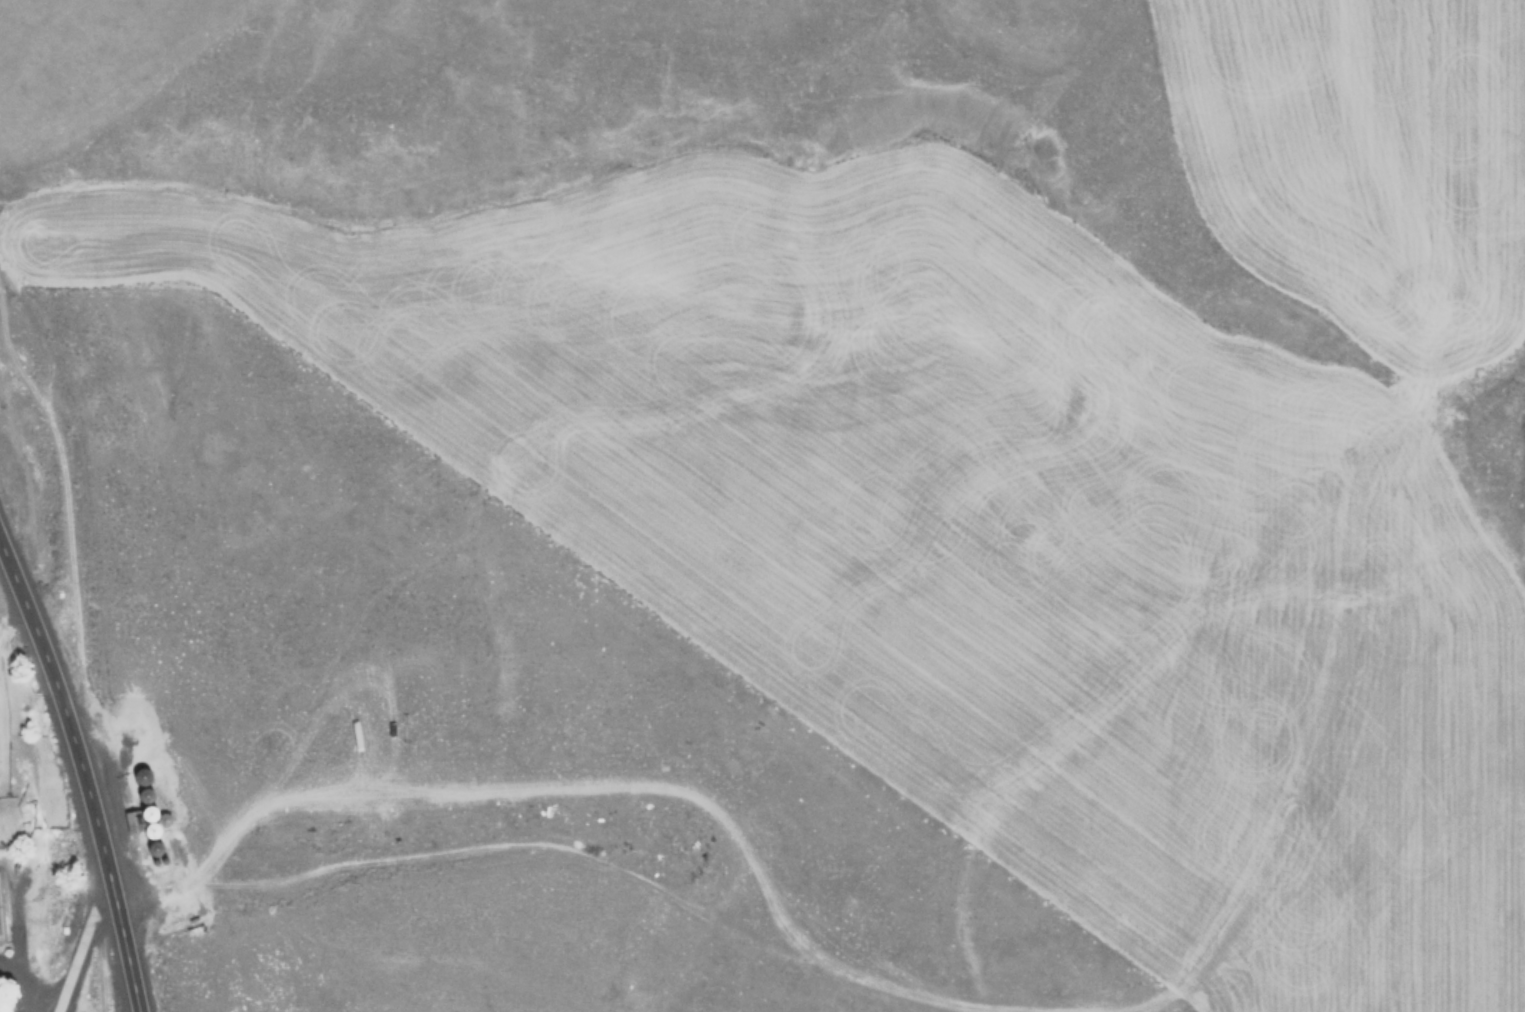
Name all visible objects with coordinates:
road: (92, 794)
road: (94, 931)

